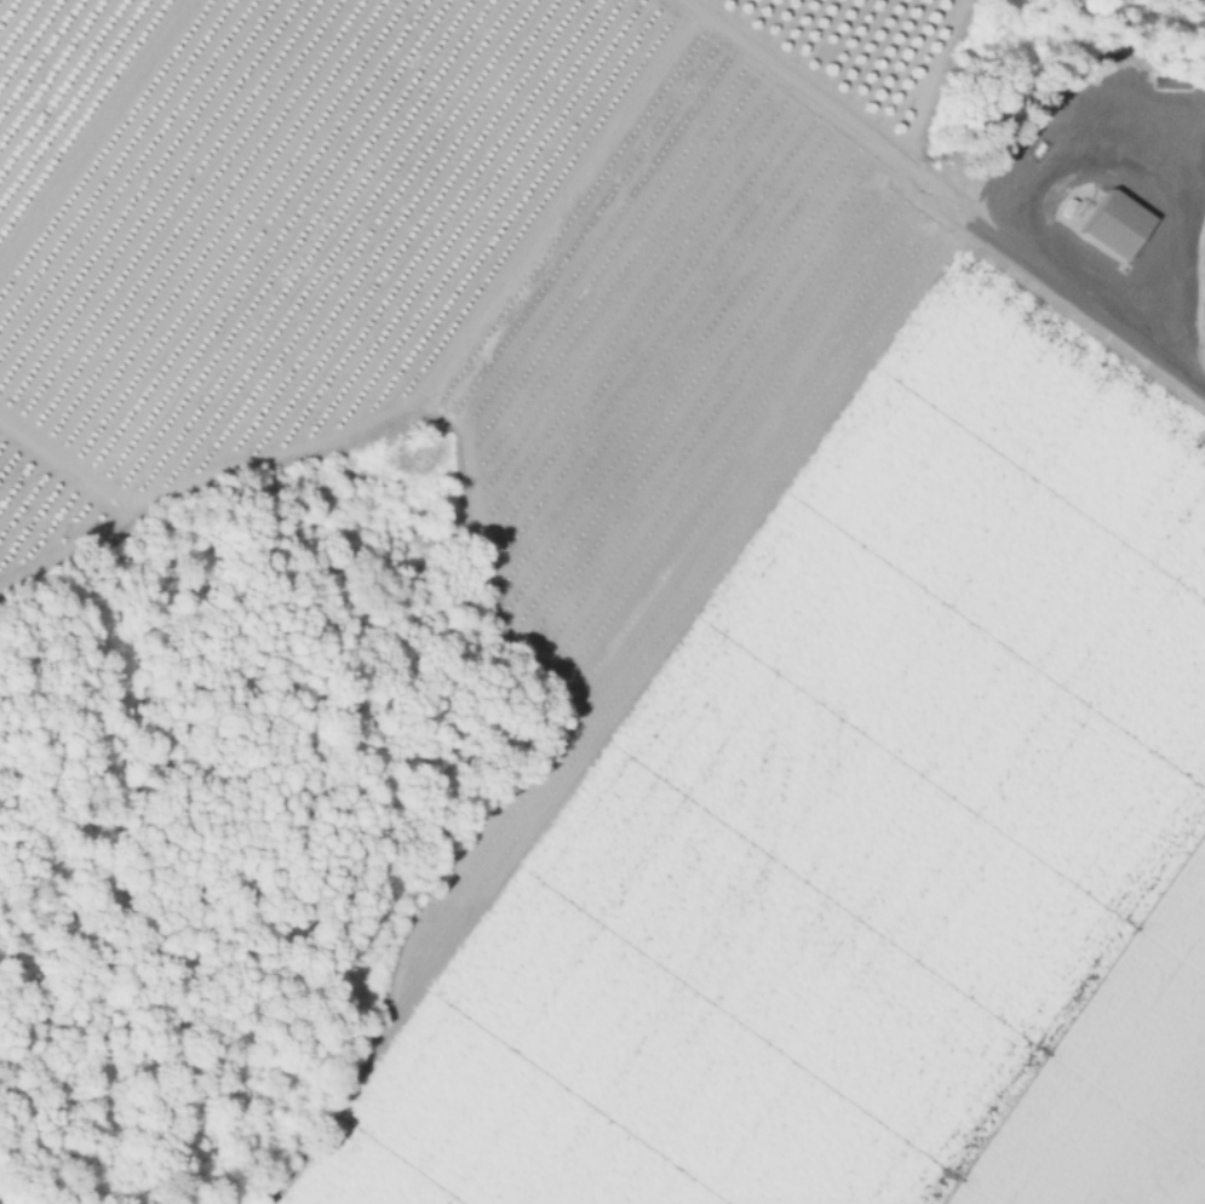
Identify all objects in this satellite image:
road: (948, 187)
building: (1114, 227)
crop: (692, 563)

